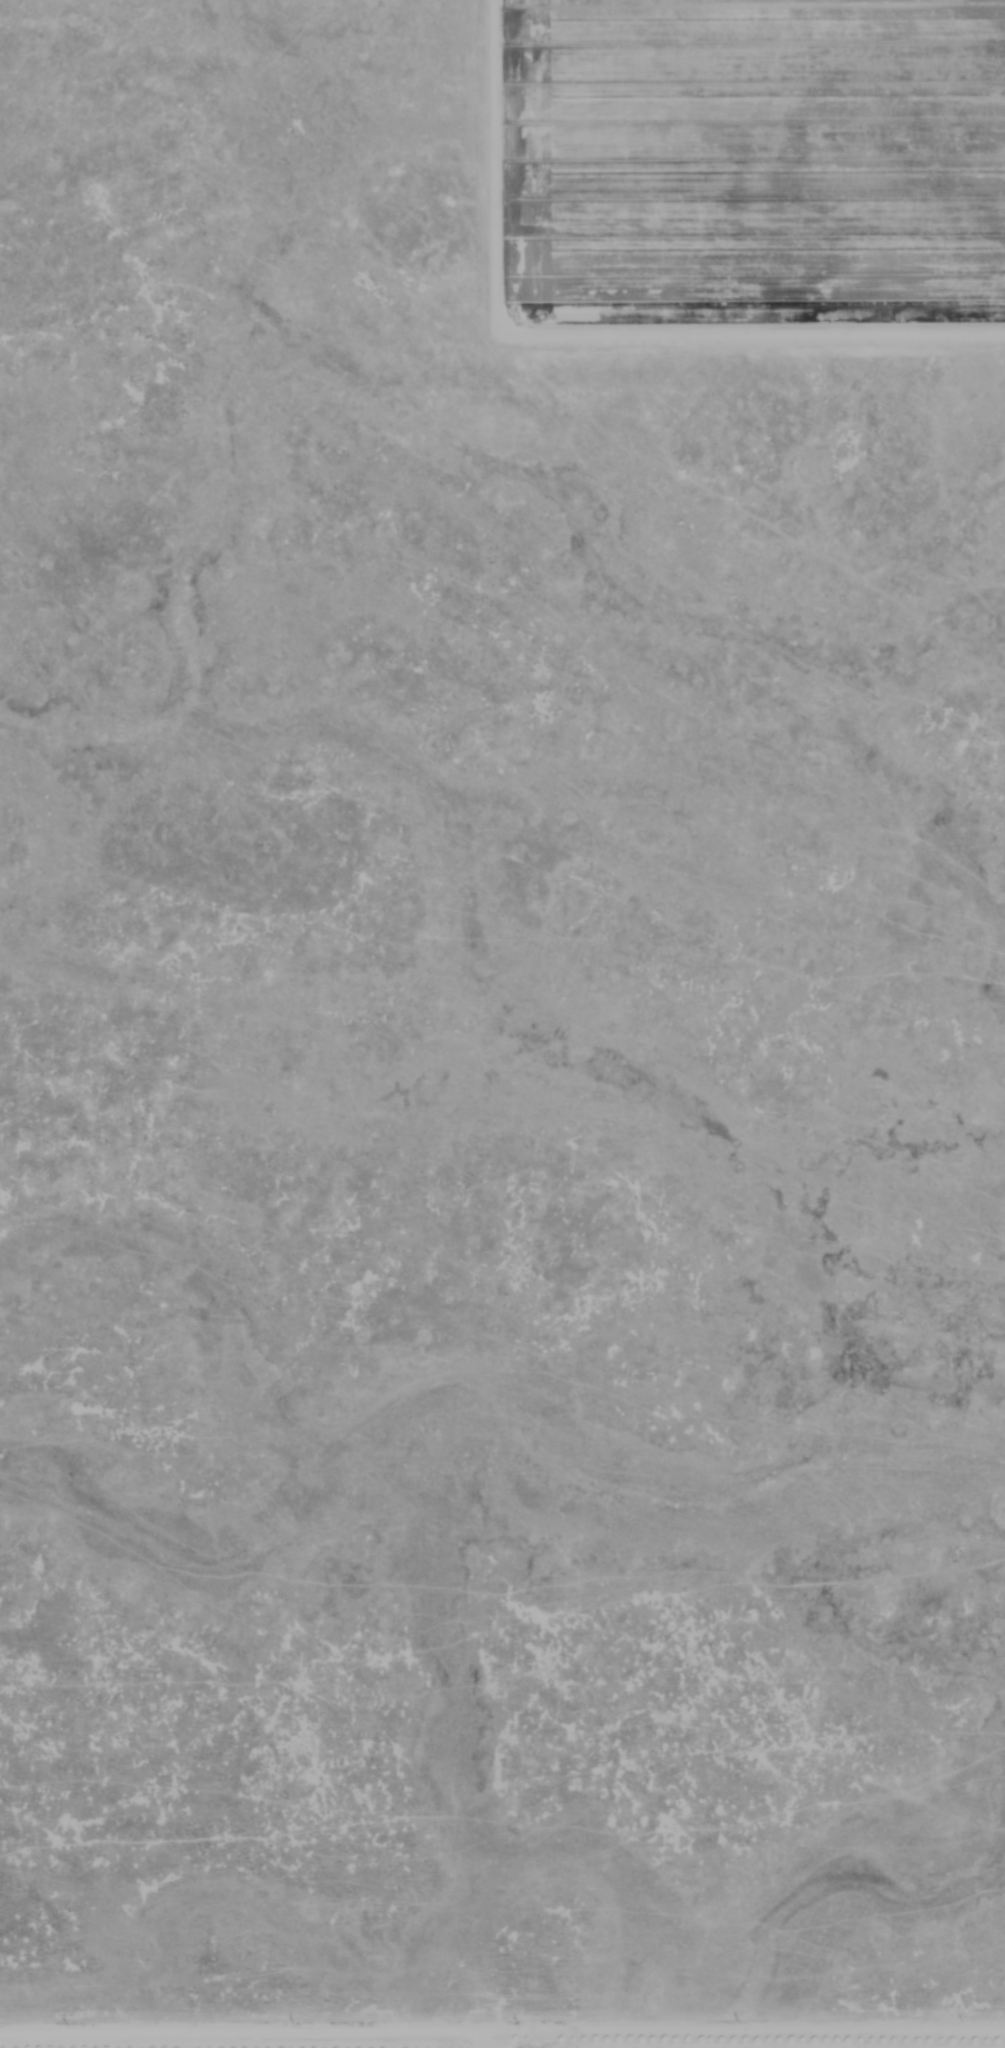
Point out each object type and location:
road: (731, 255)
crop: (611, 2040)

